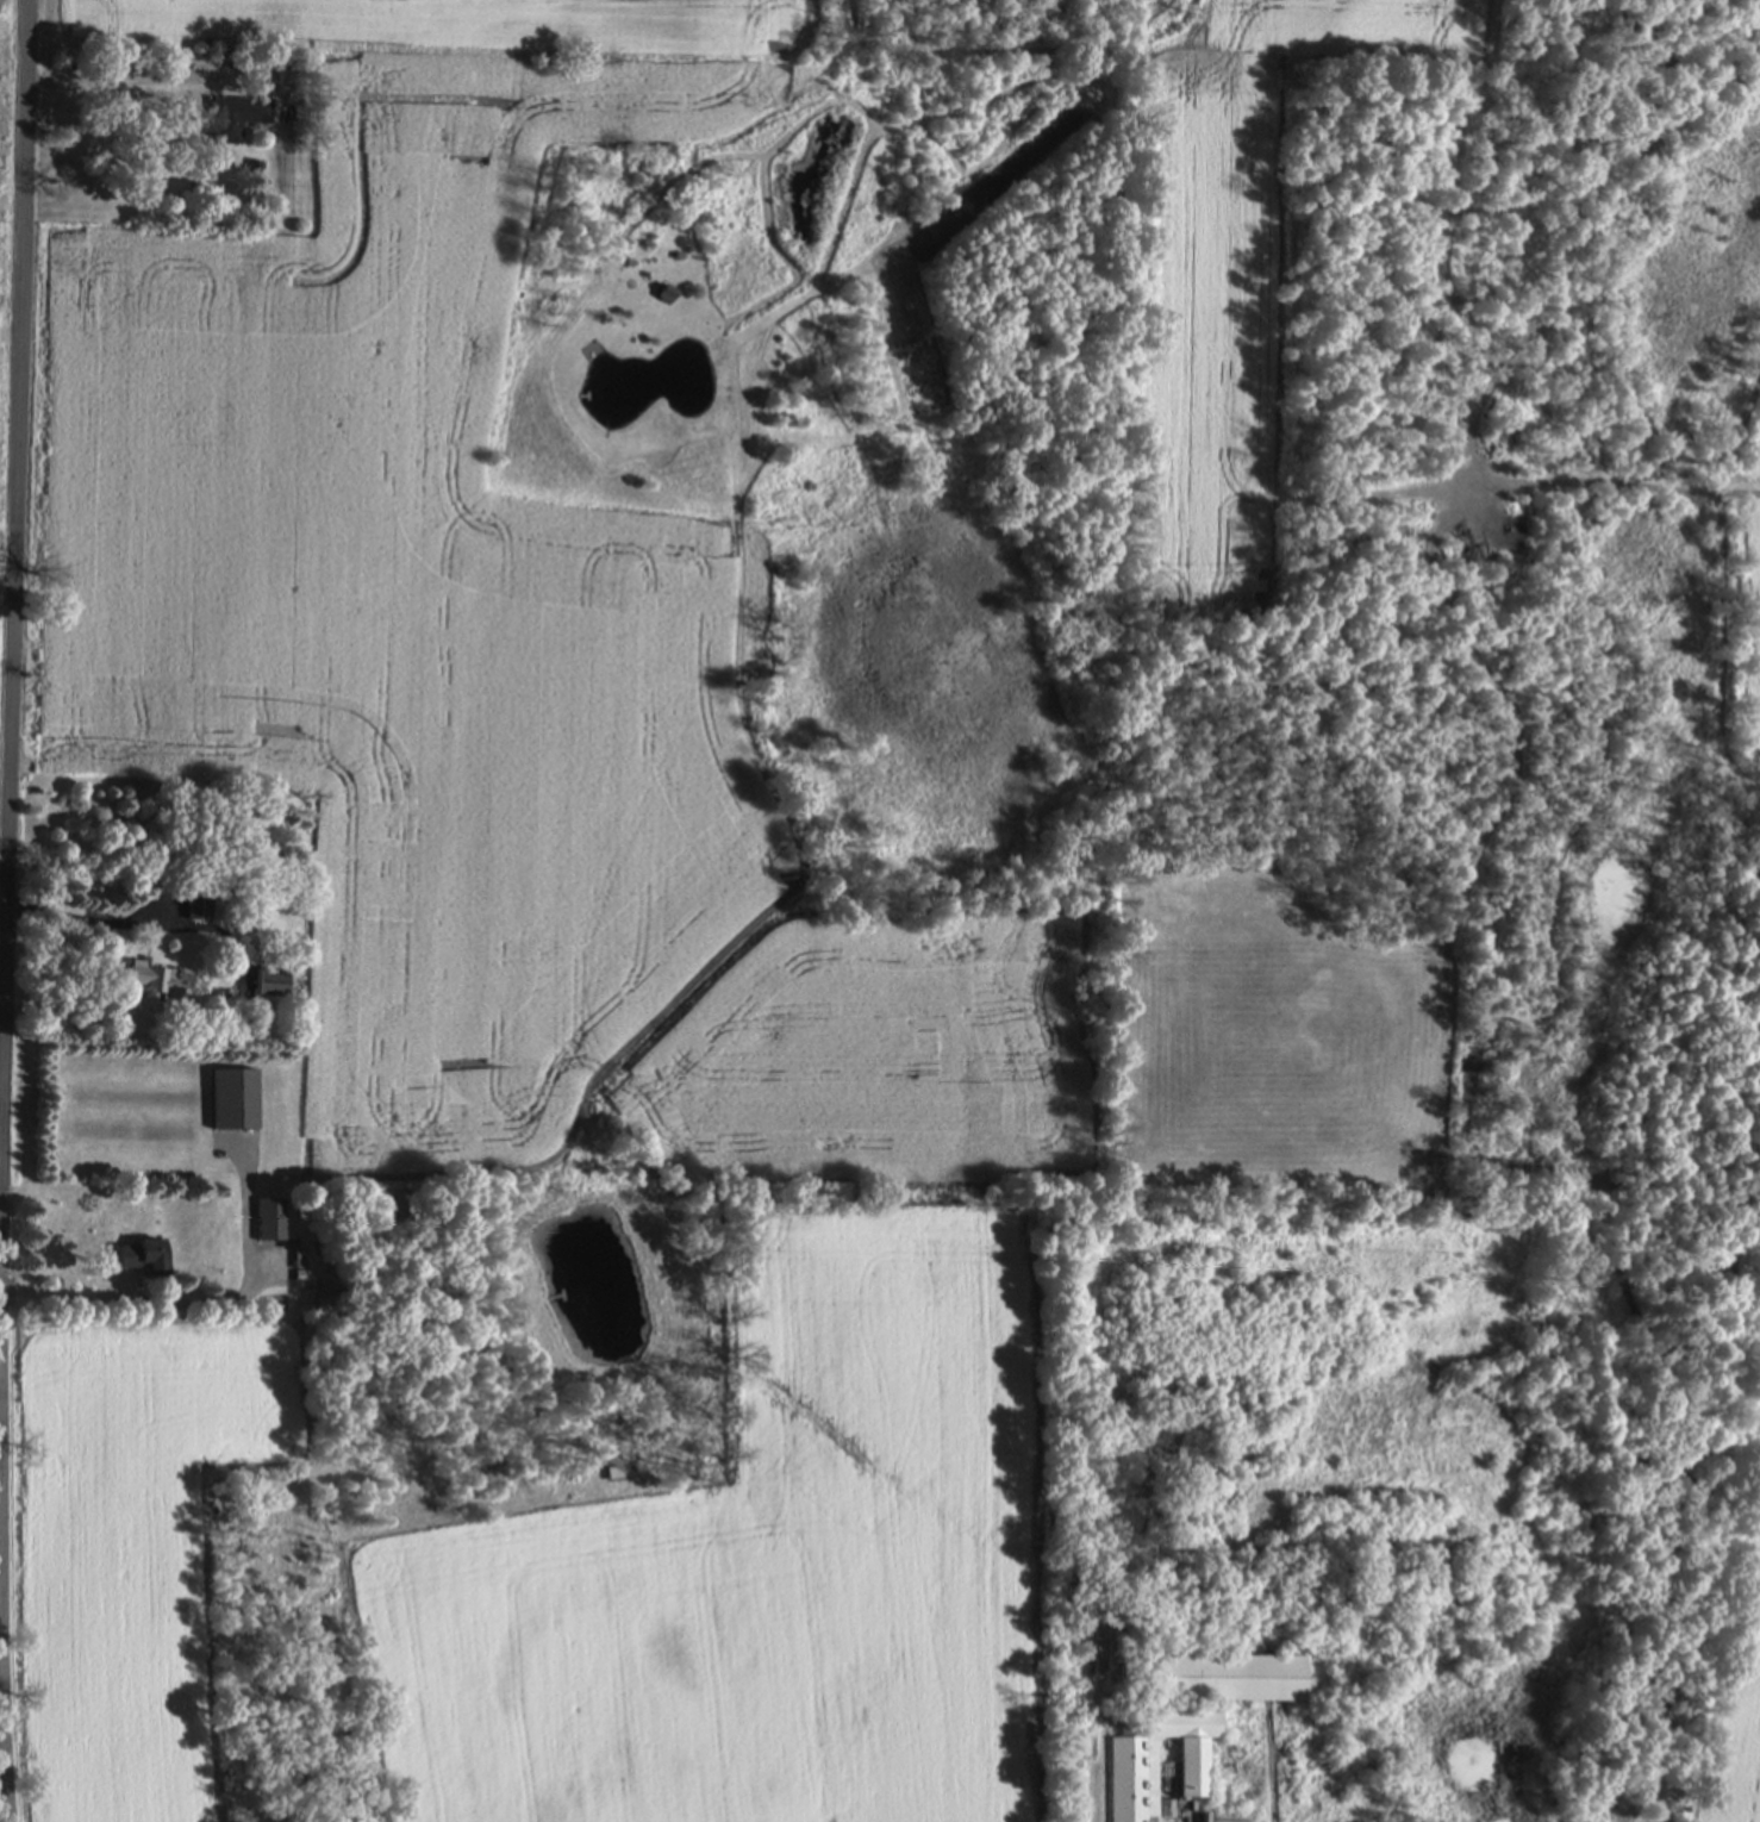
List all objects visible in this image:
road: (133, 80)
building: (237, 121)
building: (668, 298)
road: (1628, 480)
building: (199, 906)
road: (7, 910)
road: (87, 916)
building: (157, 980)
building: (273, 986)
building: (235, 1103)
road: (1, 1202)
building: (272, 1223)
building: (145, 1261)
road: (138, 1305)
building: (1230, 1681)
building: (1135, 1773)

